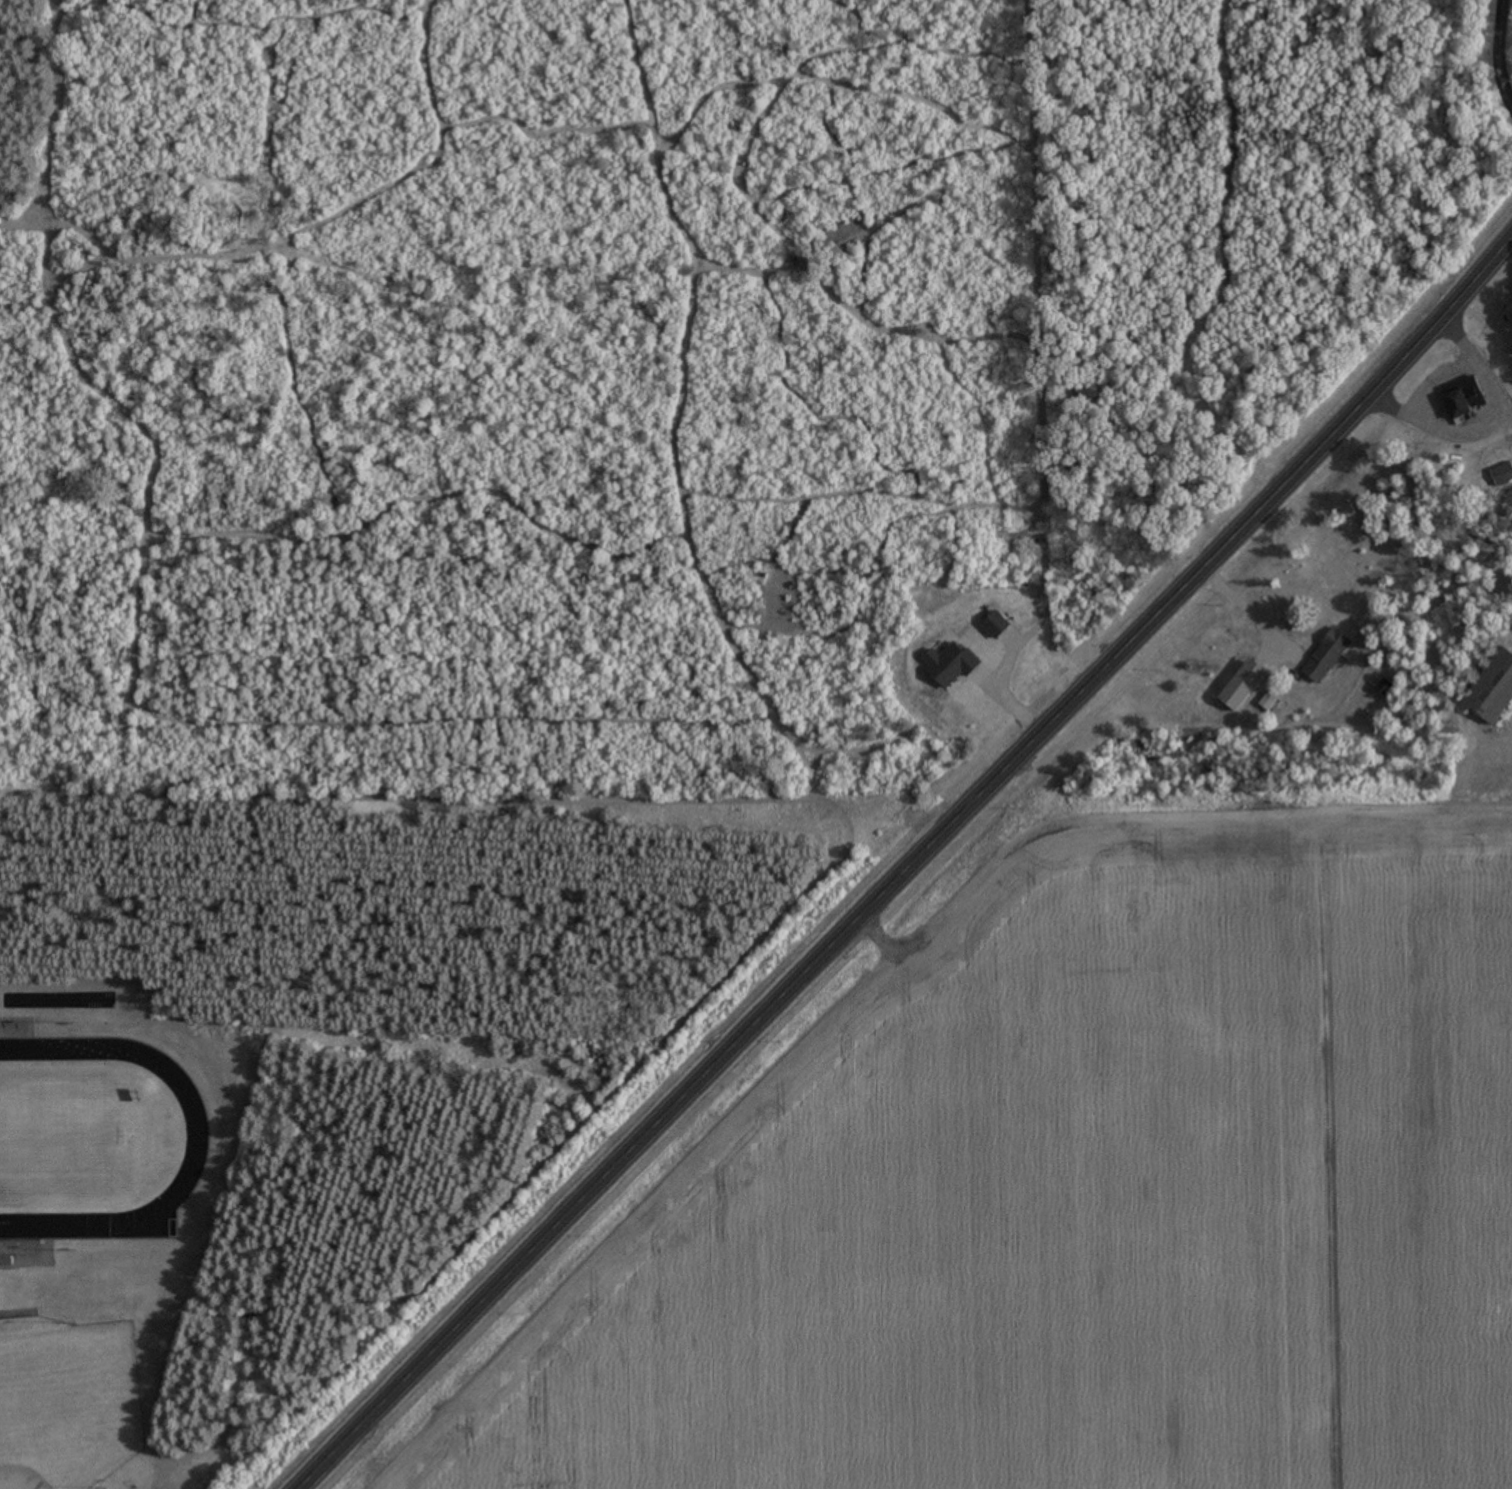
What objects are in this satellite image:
road: (1470, 290)
road: (1470, 380)
building: (1463, 398)
building: (1502, 475)
building: (1326, 656)
building: (1242, 685)
building: (1492, 689)
road: (469, 799)
road: (863, 911)
park: (79, 1149)
track: (89, 1149)
building: (14, 1327)
park: (60, 1411)

